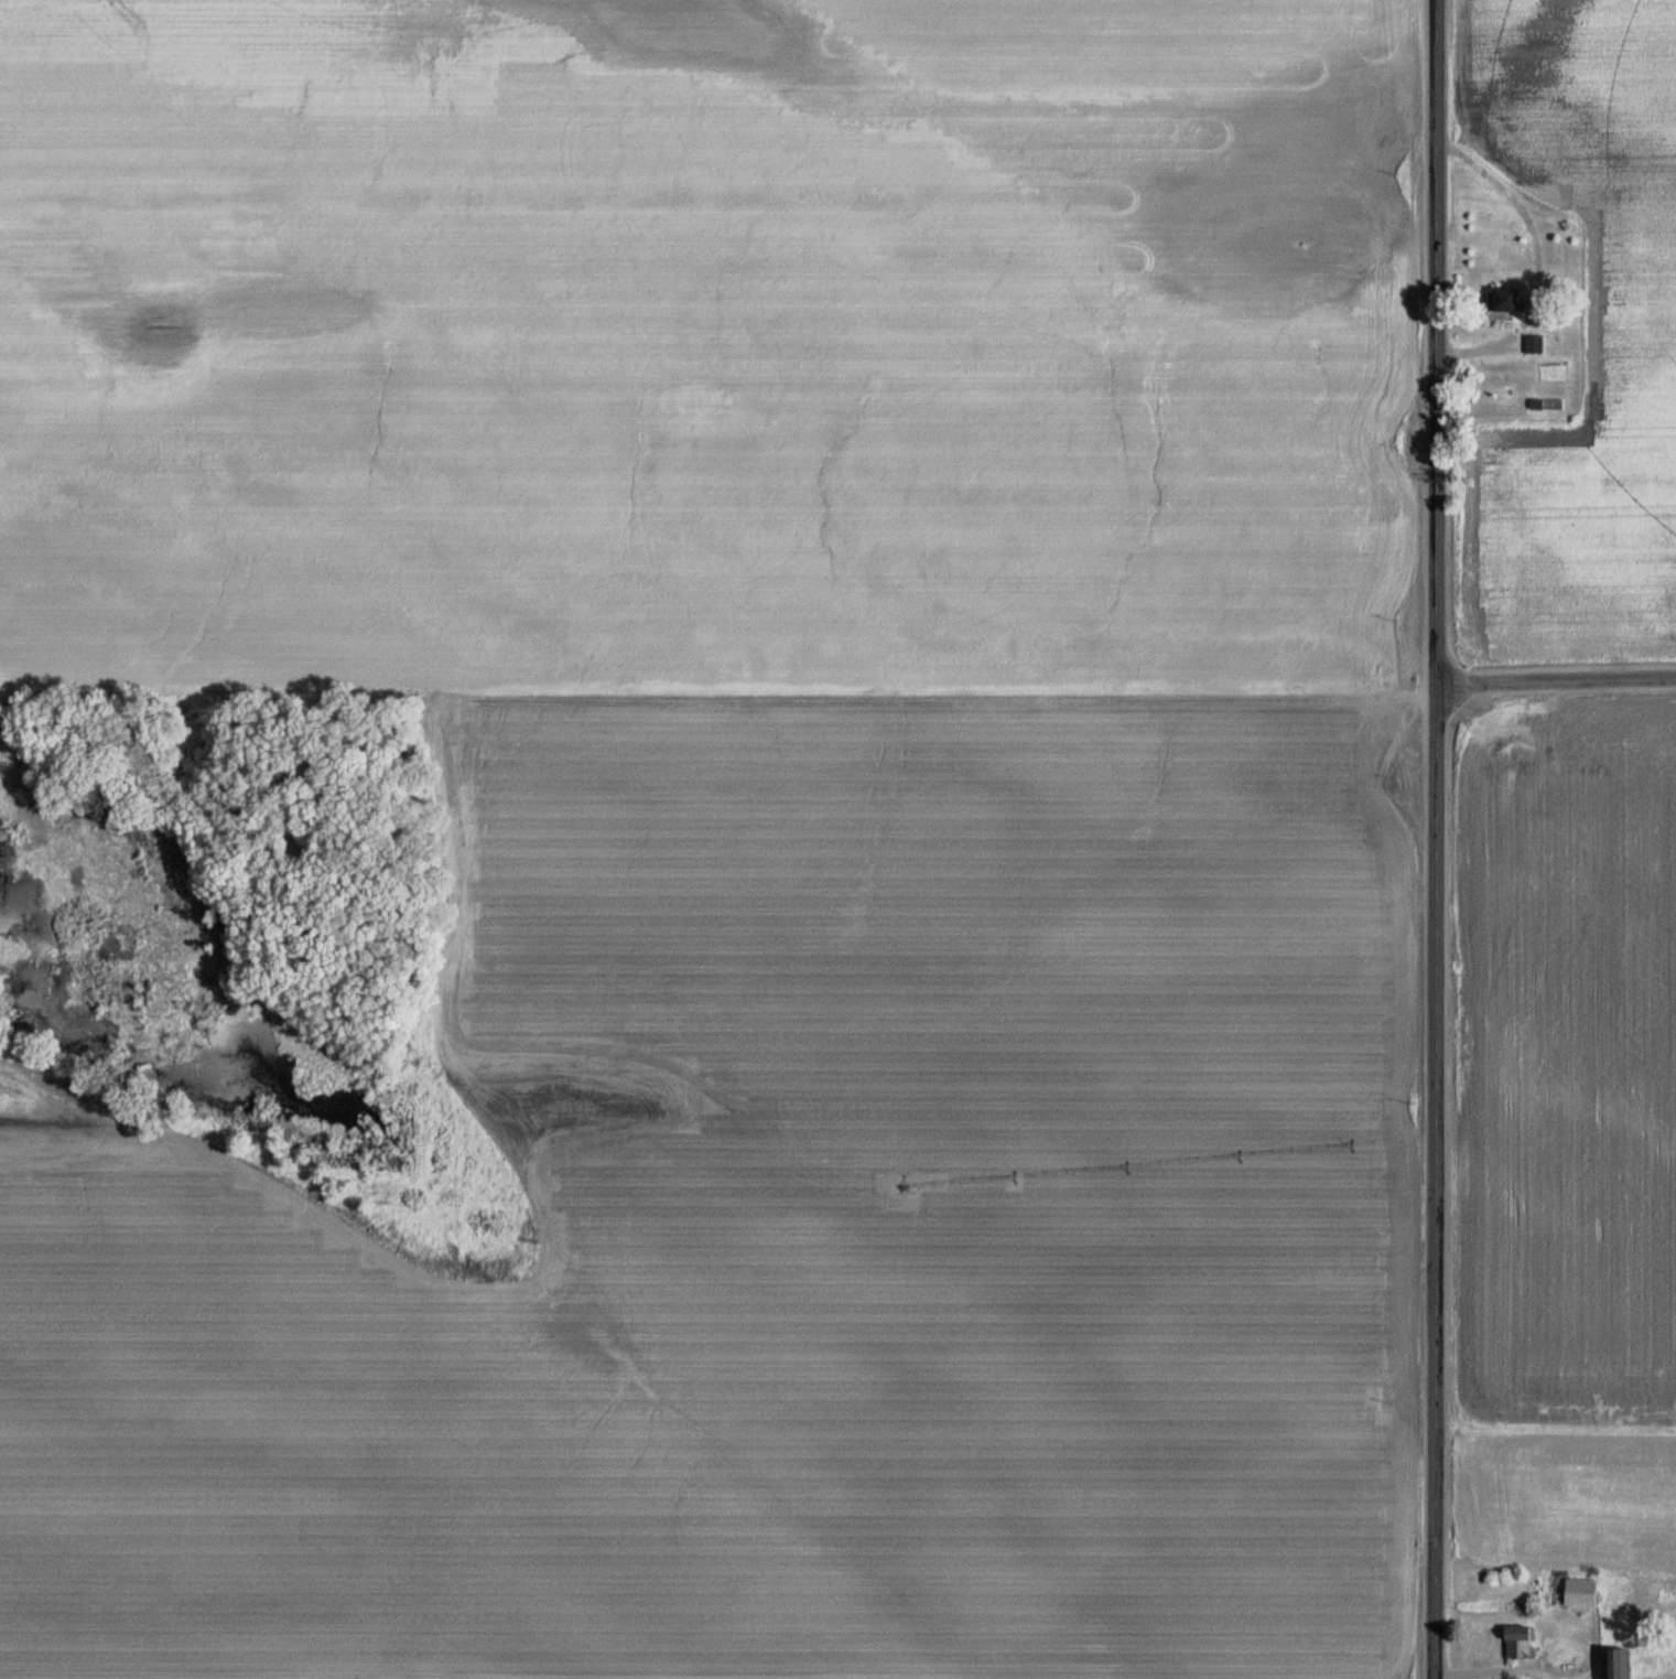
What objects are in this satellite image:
building: (1501, 299)
building: (1532, 344)
road: (1554, 687)
road: (1432, 839)
building: (1579, 1593)
building: (1515, 1643)
building: (1612, 1664)
road: (1495, 1668)

